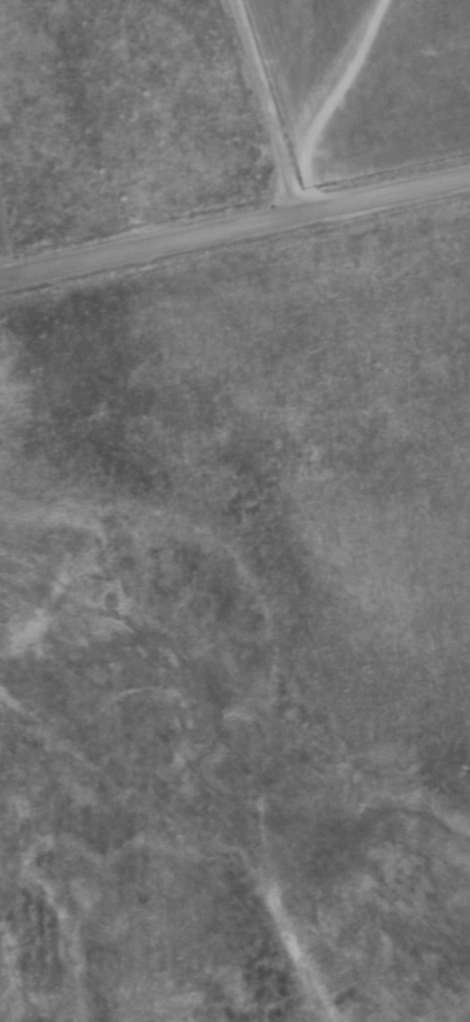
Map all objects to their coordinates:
road: (332, 99)
road: (270, 104)
road: (234, 224)

